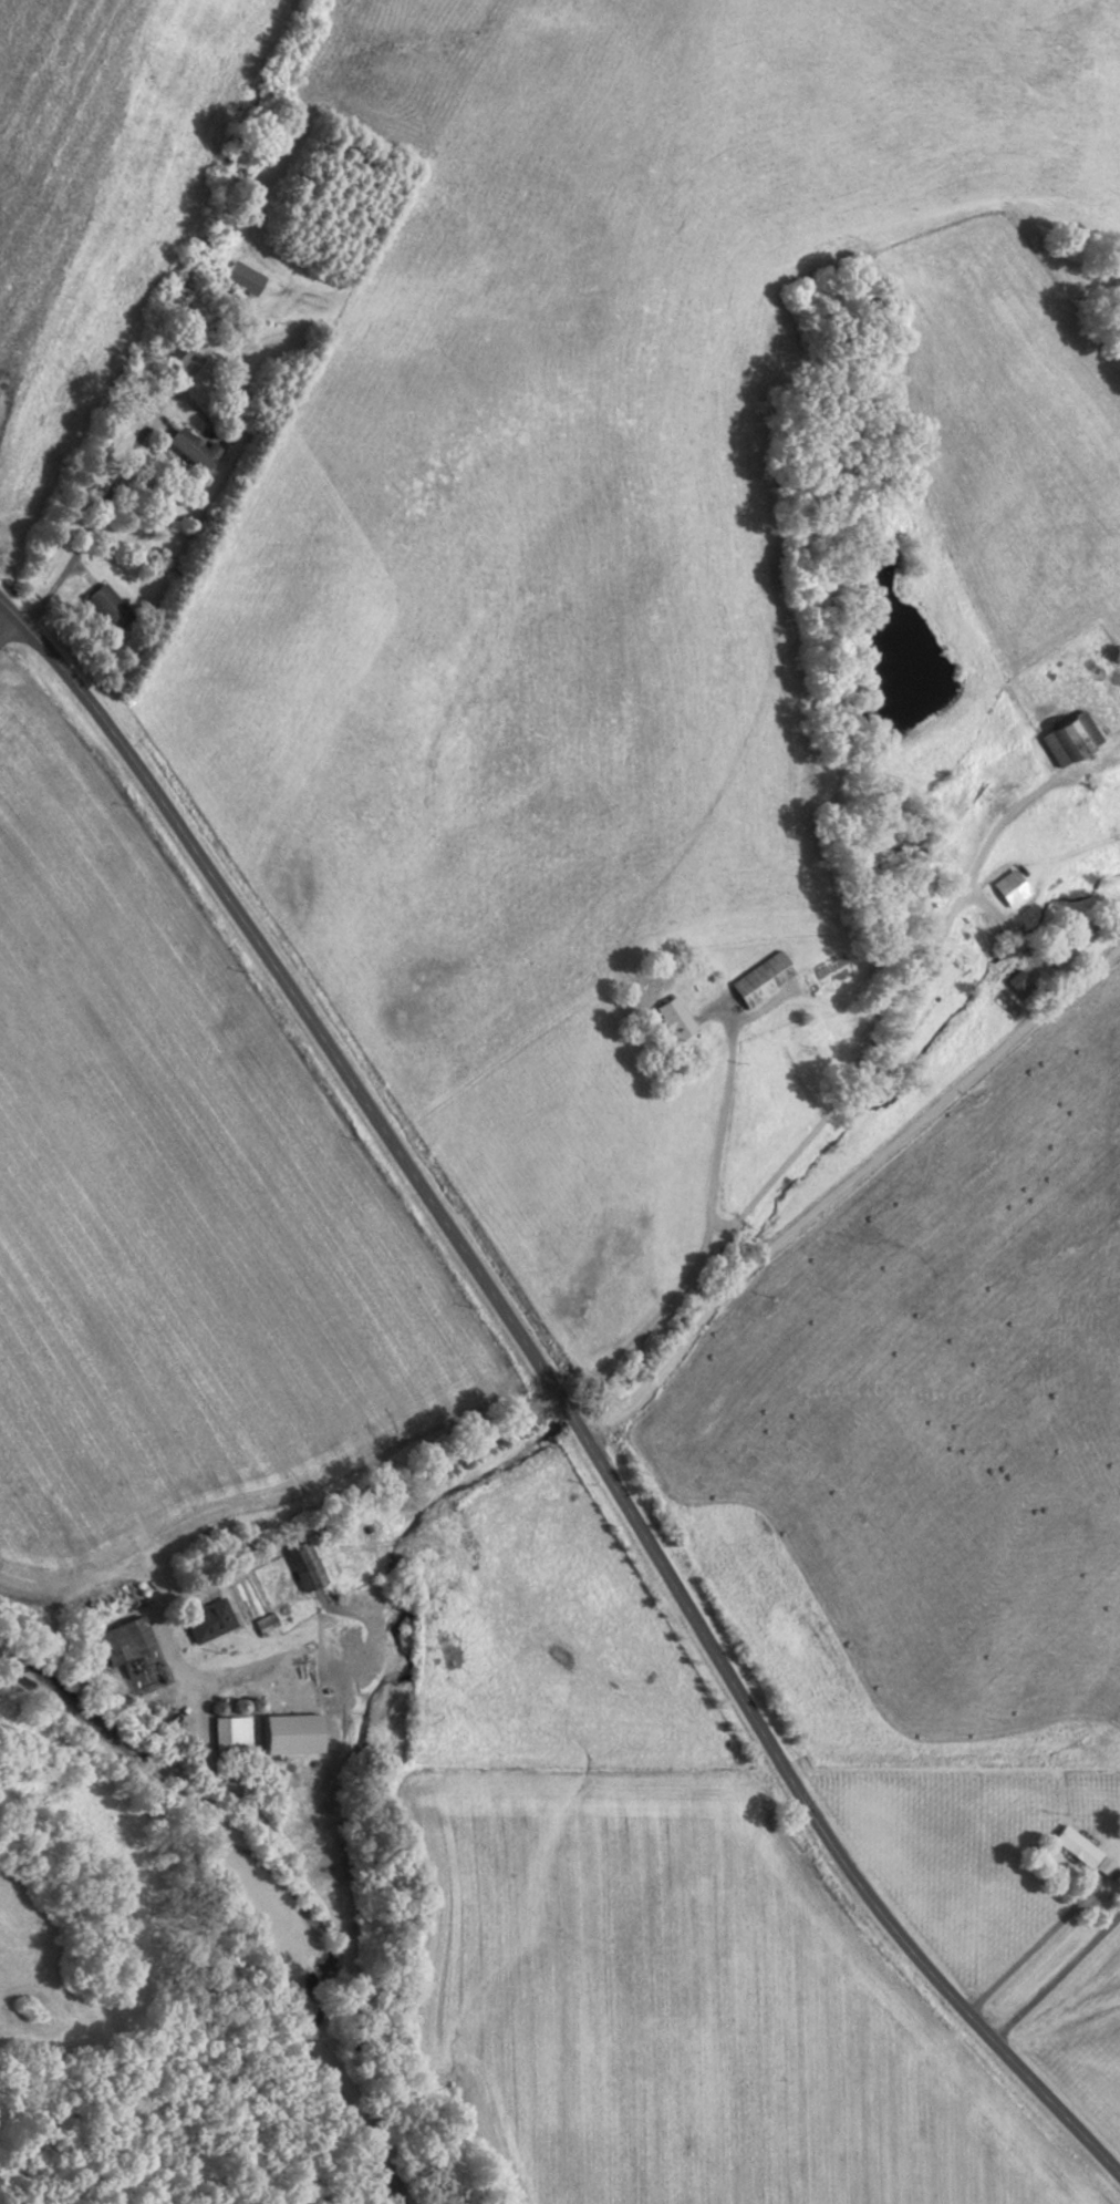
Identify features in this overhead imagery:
building: (246, 278)
building: (194, 447)
road: (100, 505)
building: (107, 608)
road: (6, 620)
building: (1064, 735)
building: (1006, 888)
building: (1066, 949)
building: (756, 980)
building: (668, 1018)
road: (815, 1127)
road: (719, 1139)
road: (841, 1186)
road: (551, 1394)
road: (292, 1536)
building: (210, 1620)
building: (267, 1624)
building: (128, 1644)
building: (142, 1676)
building: (232, 1734)
building: (1083, 1850)
road: (1028, 1950)
road: (1058, 1974)

